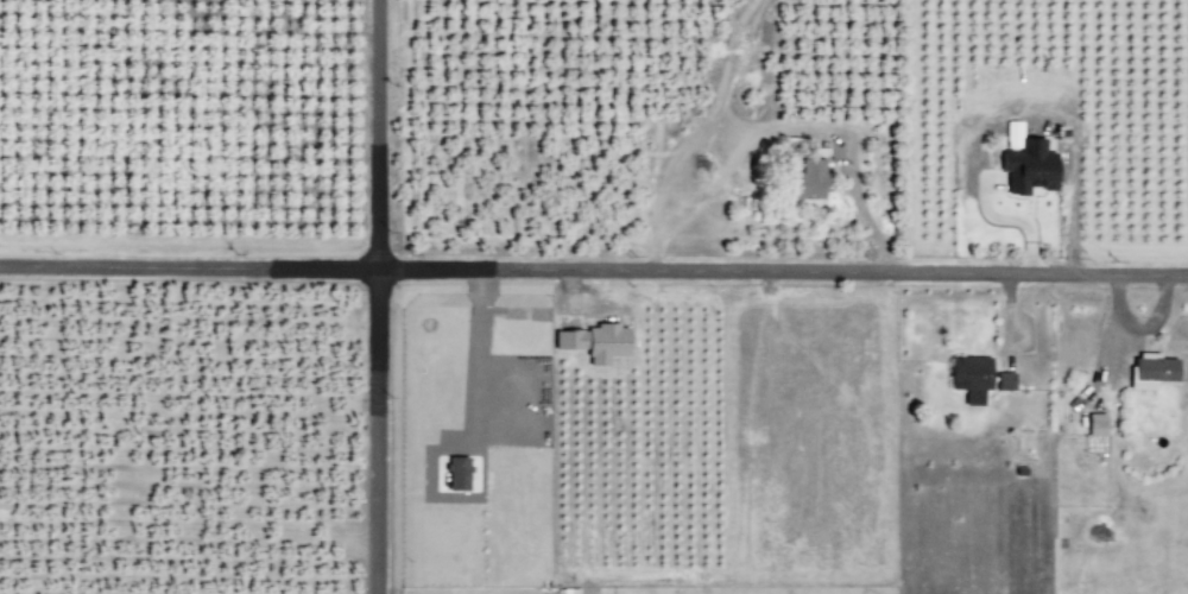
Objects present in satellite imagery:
building: (1025, 168)
building: (802, 182)
road: (593, 271)
road: (371, 297)
building: (588, 343)
building: (1148, 372)
building: (966, 378)
building: (1000, 381)
building: (1093, 424)

